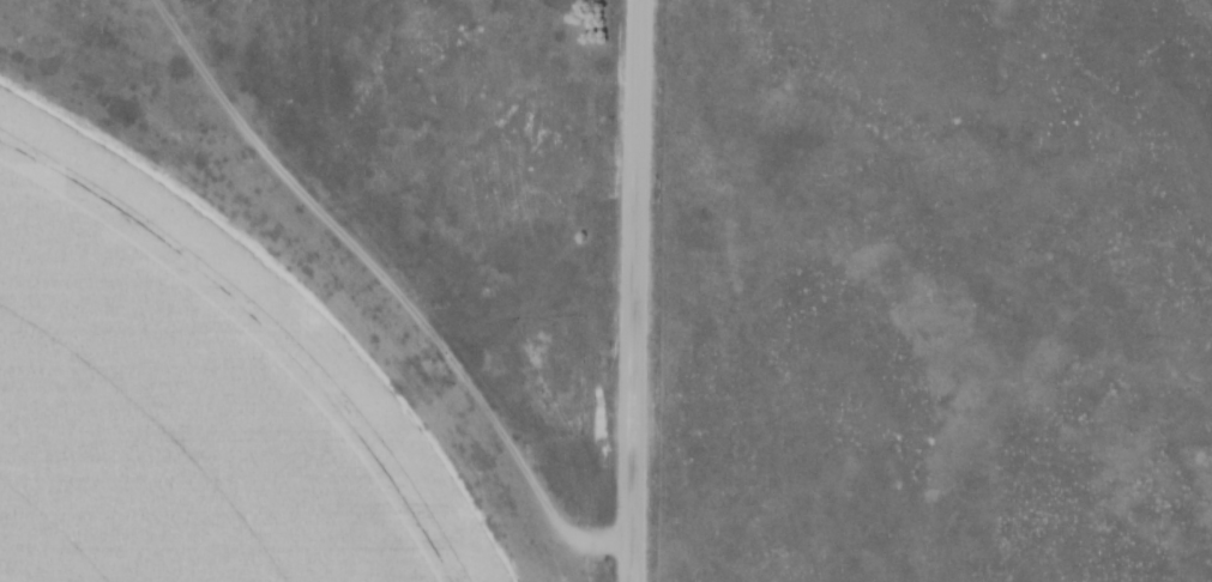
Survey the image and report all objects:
road: (637, 290)

